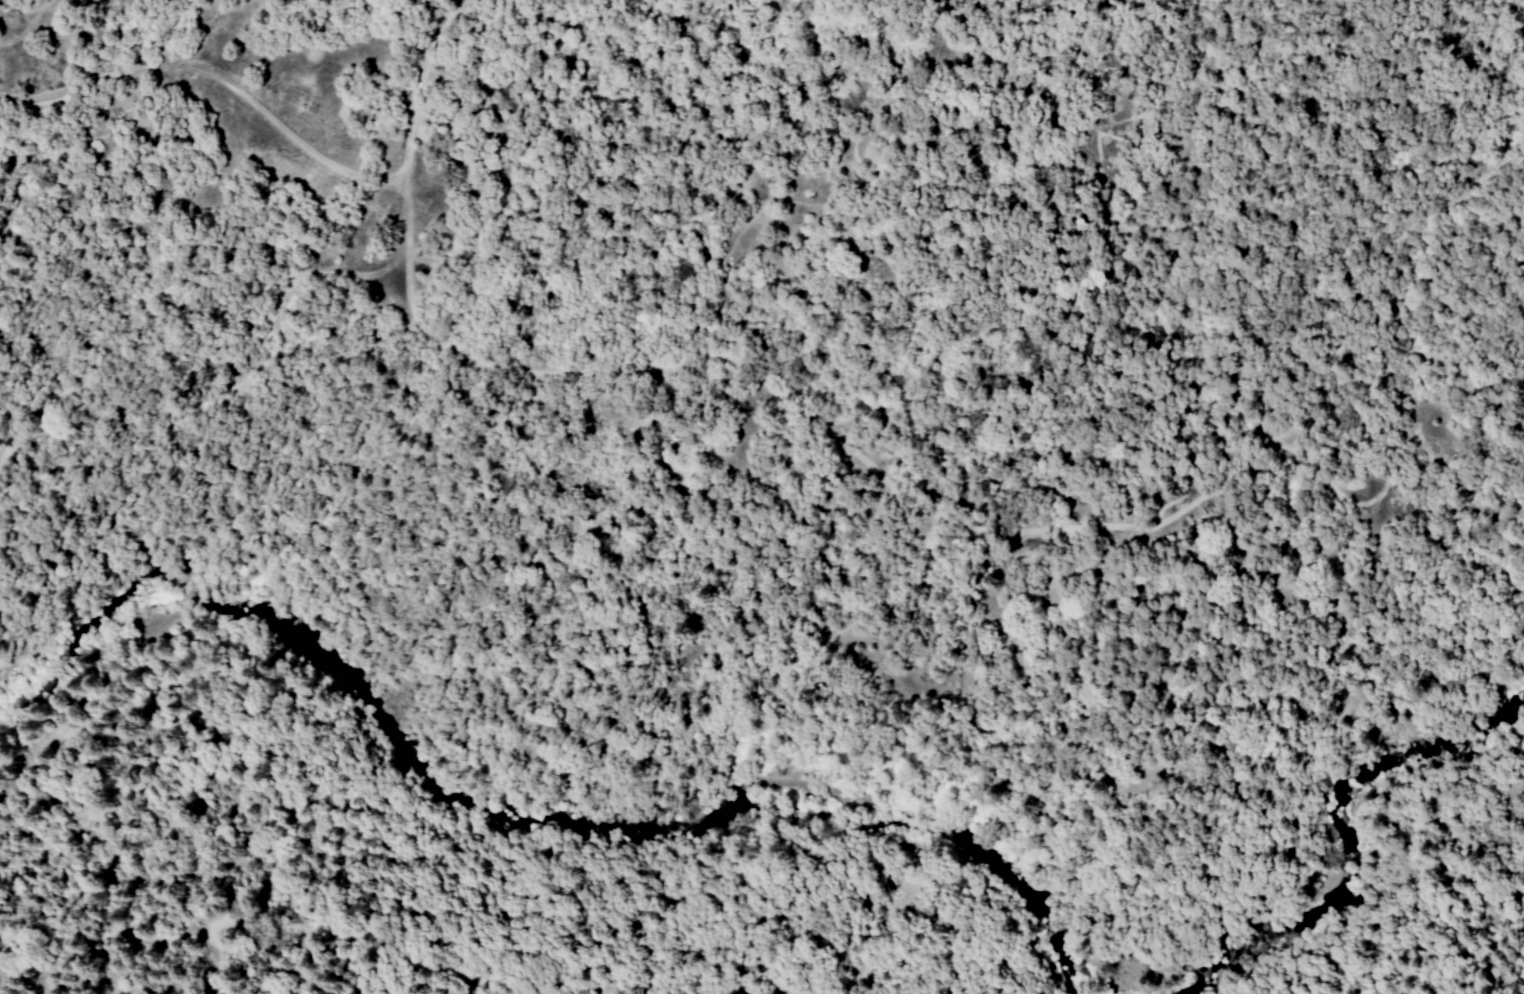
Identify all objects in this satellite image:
road: (289, 135)
river: (803, 780)

